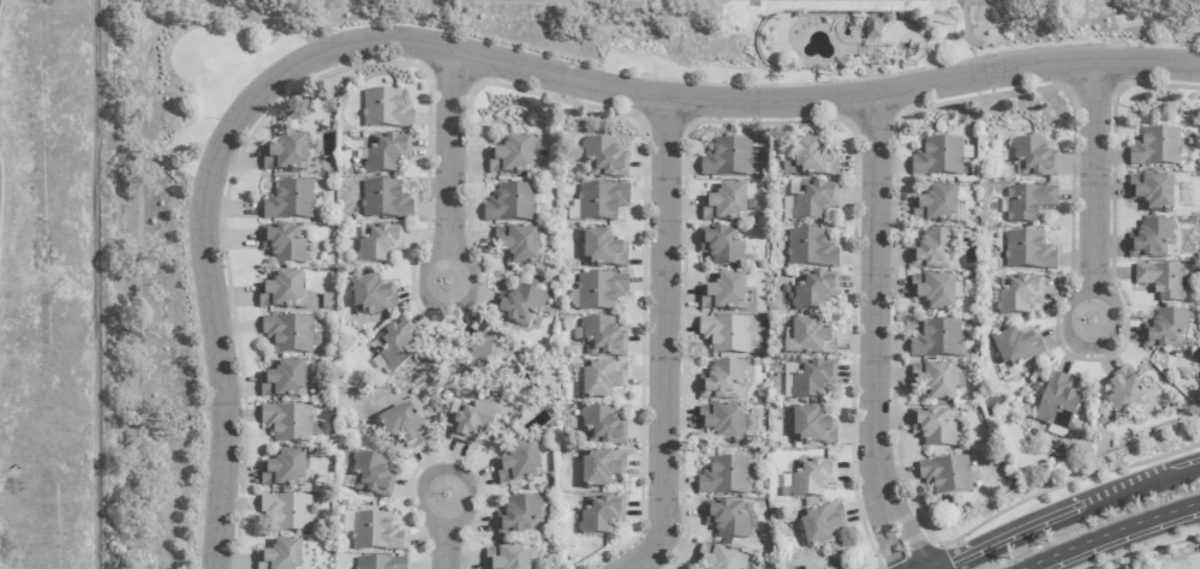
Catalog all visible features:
building: (872, 29)
park: (906, 42)
road: (482, 60)
building: (386, 110)
building: (1156, 149)
building: (384, 154)
building: (286, 155)
building: (513, 156)
road: (452, 157)
building: (604, 158)
building: (728, 158)
building: (938, 158)
building: (1034, 158)
building: (811, 161)
road: (1095, 181)
building: (1152, 192)
building: (384, 200)
building: (289, 202)
building: (602, 202)
building: (813, 202)
building: (1027, 203)
building: (511, 204)
building: (936, 206)
building: (1151, 240)
building: (380, 244)
building: (283, 245)
building: (518, 245)
building: (722, 247)
building: (810, 250)
building: (602, 251)
building: (932, 251)
building: (1028, 252)
road: (426, 280)
park: (62, 281)
road: (467, 281)
building: (1163, 281)
building: (281, 292)
building: (597, 292)
building: (935, 292)
building: (723, 294)
road: (874, 294)
building: (1019, 295)
building: (371, 297)
building: (520, 306)
road: (1070, 321)
road: (1115, 321)
building: (1165, 330)
building: (288, 334)
building: (726, 335)
building: (603, 339)
building: (808, 339)
building: (937, 340)
road: (667, 342)
building: (398, 343)
building: (1016, 348)
building: (484, 353)
building: (811, 379)
building: (283, 381)
building: (602, 381)
building: (722, 382)
building: (936, 382)
building: (1123, 390)
building: (1057, 402)
building: (472, 421)
building: (722, 423)
building: (287, 424)
building: (402, 427)
building: (603, 427)
building: (812, 427)
building: (933, 427)
building: (519, 465)
building: (602, 468)
building: (285, 471)
building: (371, 475)
building: (947, 475)
building: (724, 477)
building: (808, 479)
road: (1144, 489)
road: (423, 497)
road: (466, 497)
building: (286, 513)
building: (601, 515)
building: (520, 517)
building: (727, 520)
road: (1062, 520)
building: (820, 525)
road: (907, 526)
road: (884, 531)
building: (372, 532)
road: (1112, 533)
road: (444, 544)
road: (996, 550)
building: (281, 556)
building: (507, 558)
building: (717, 558)
building: (380, 563)

